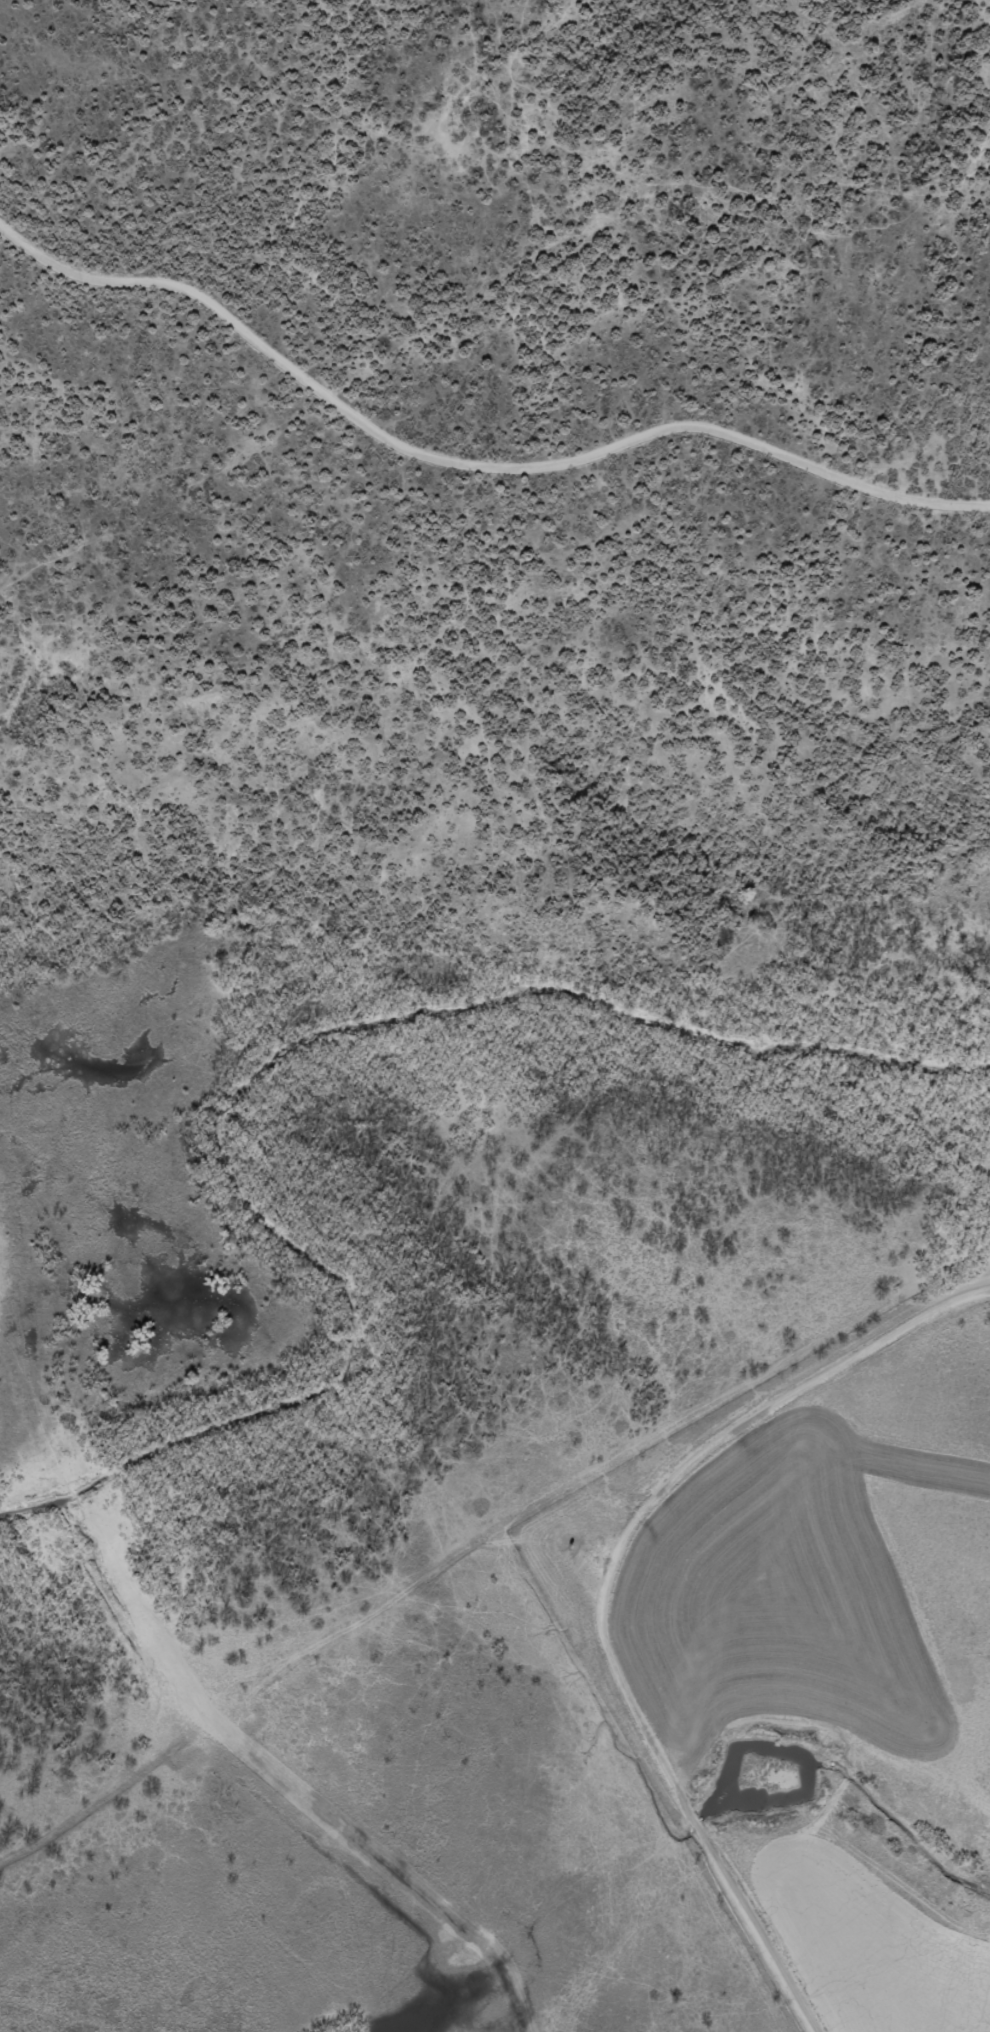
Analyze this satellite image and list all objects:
road: (178, 245)
road: (464, 296)

